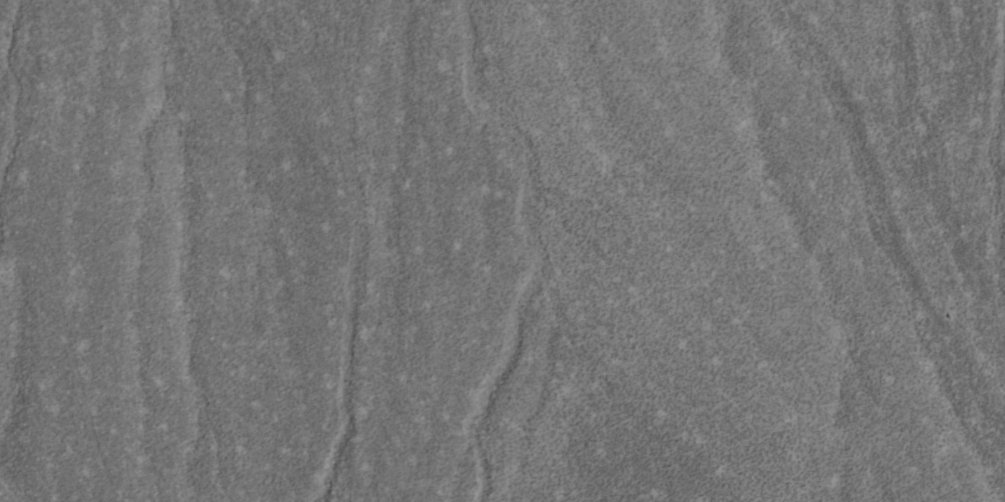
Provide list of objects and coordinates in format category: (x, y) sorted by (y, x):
road: (75, 370)

